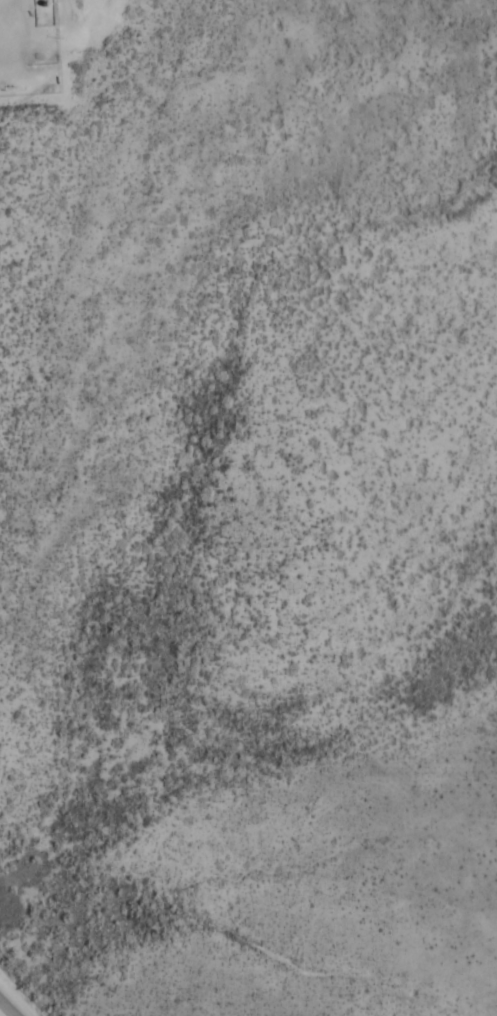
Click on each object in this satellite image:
road: (7, 1008)

